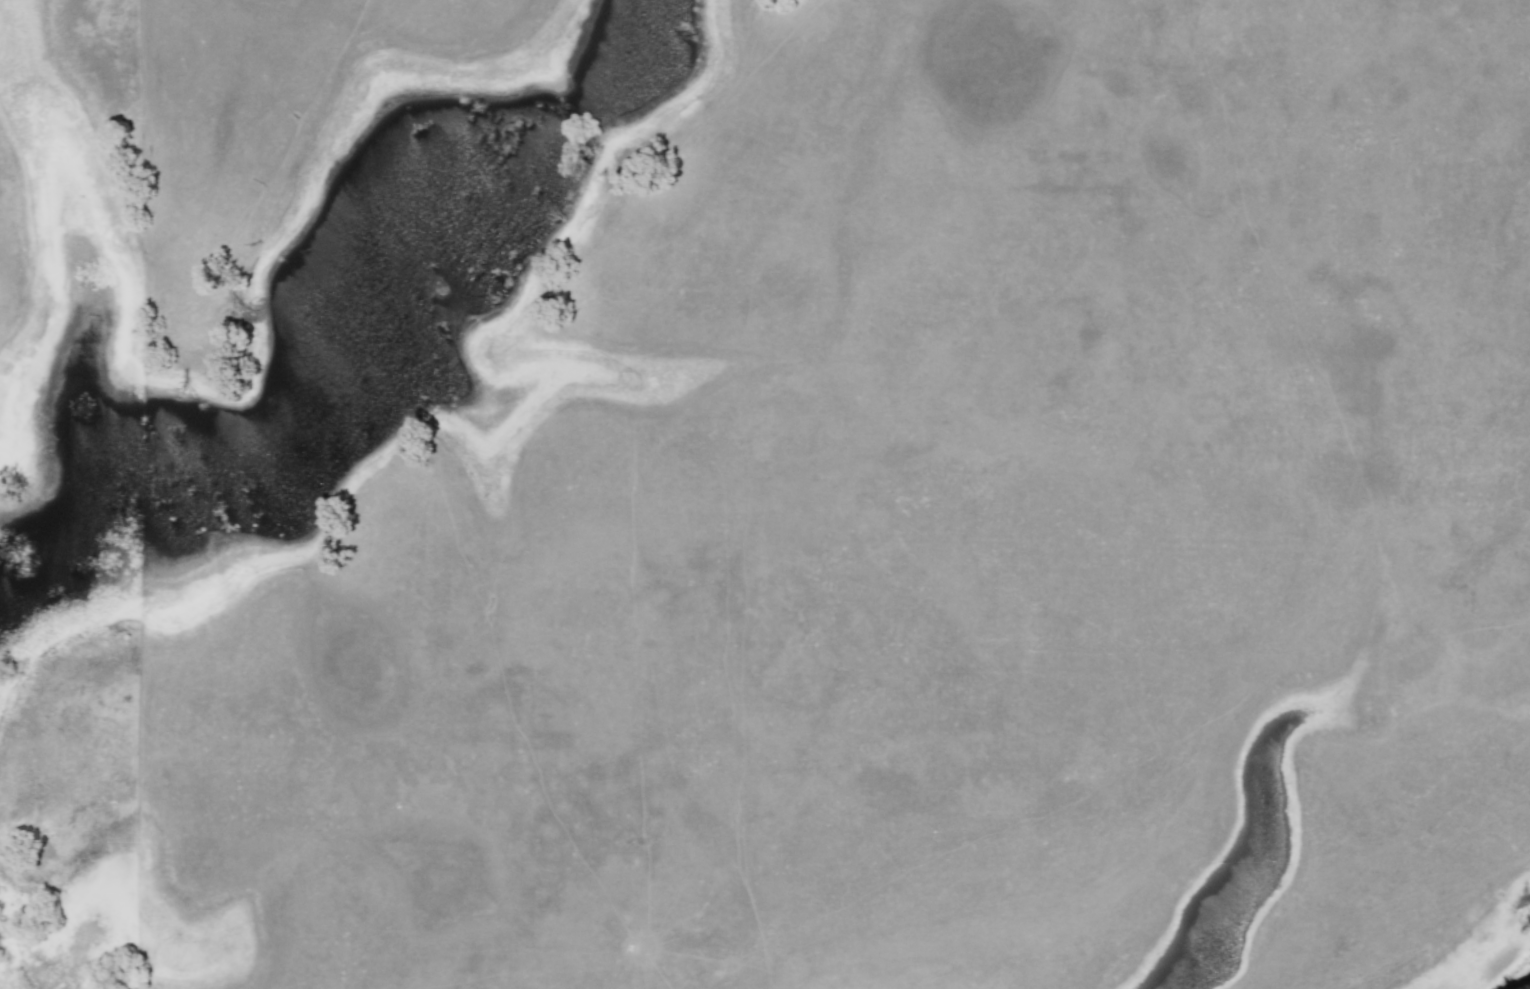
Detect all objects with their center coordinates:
crop: (66, 189)

